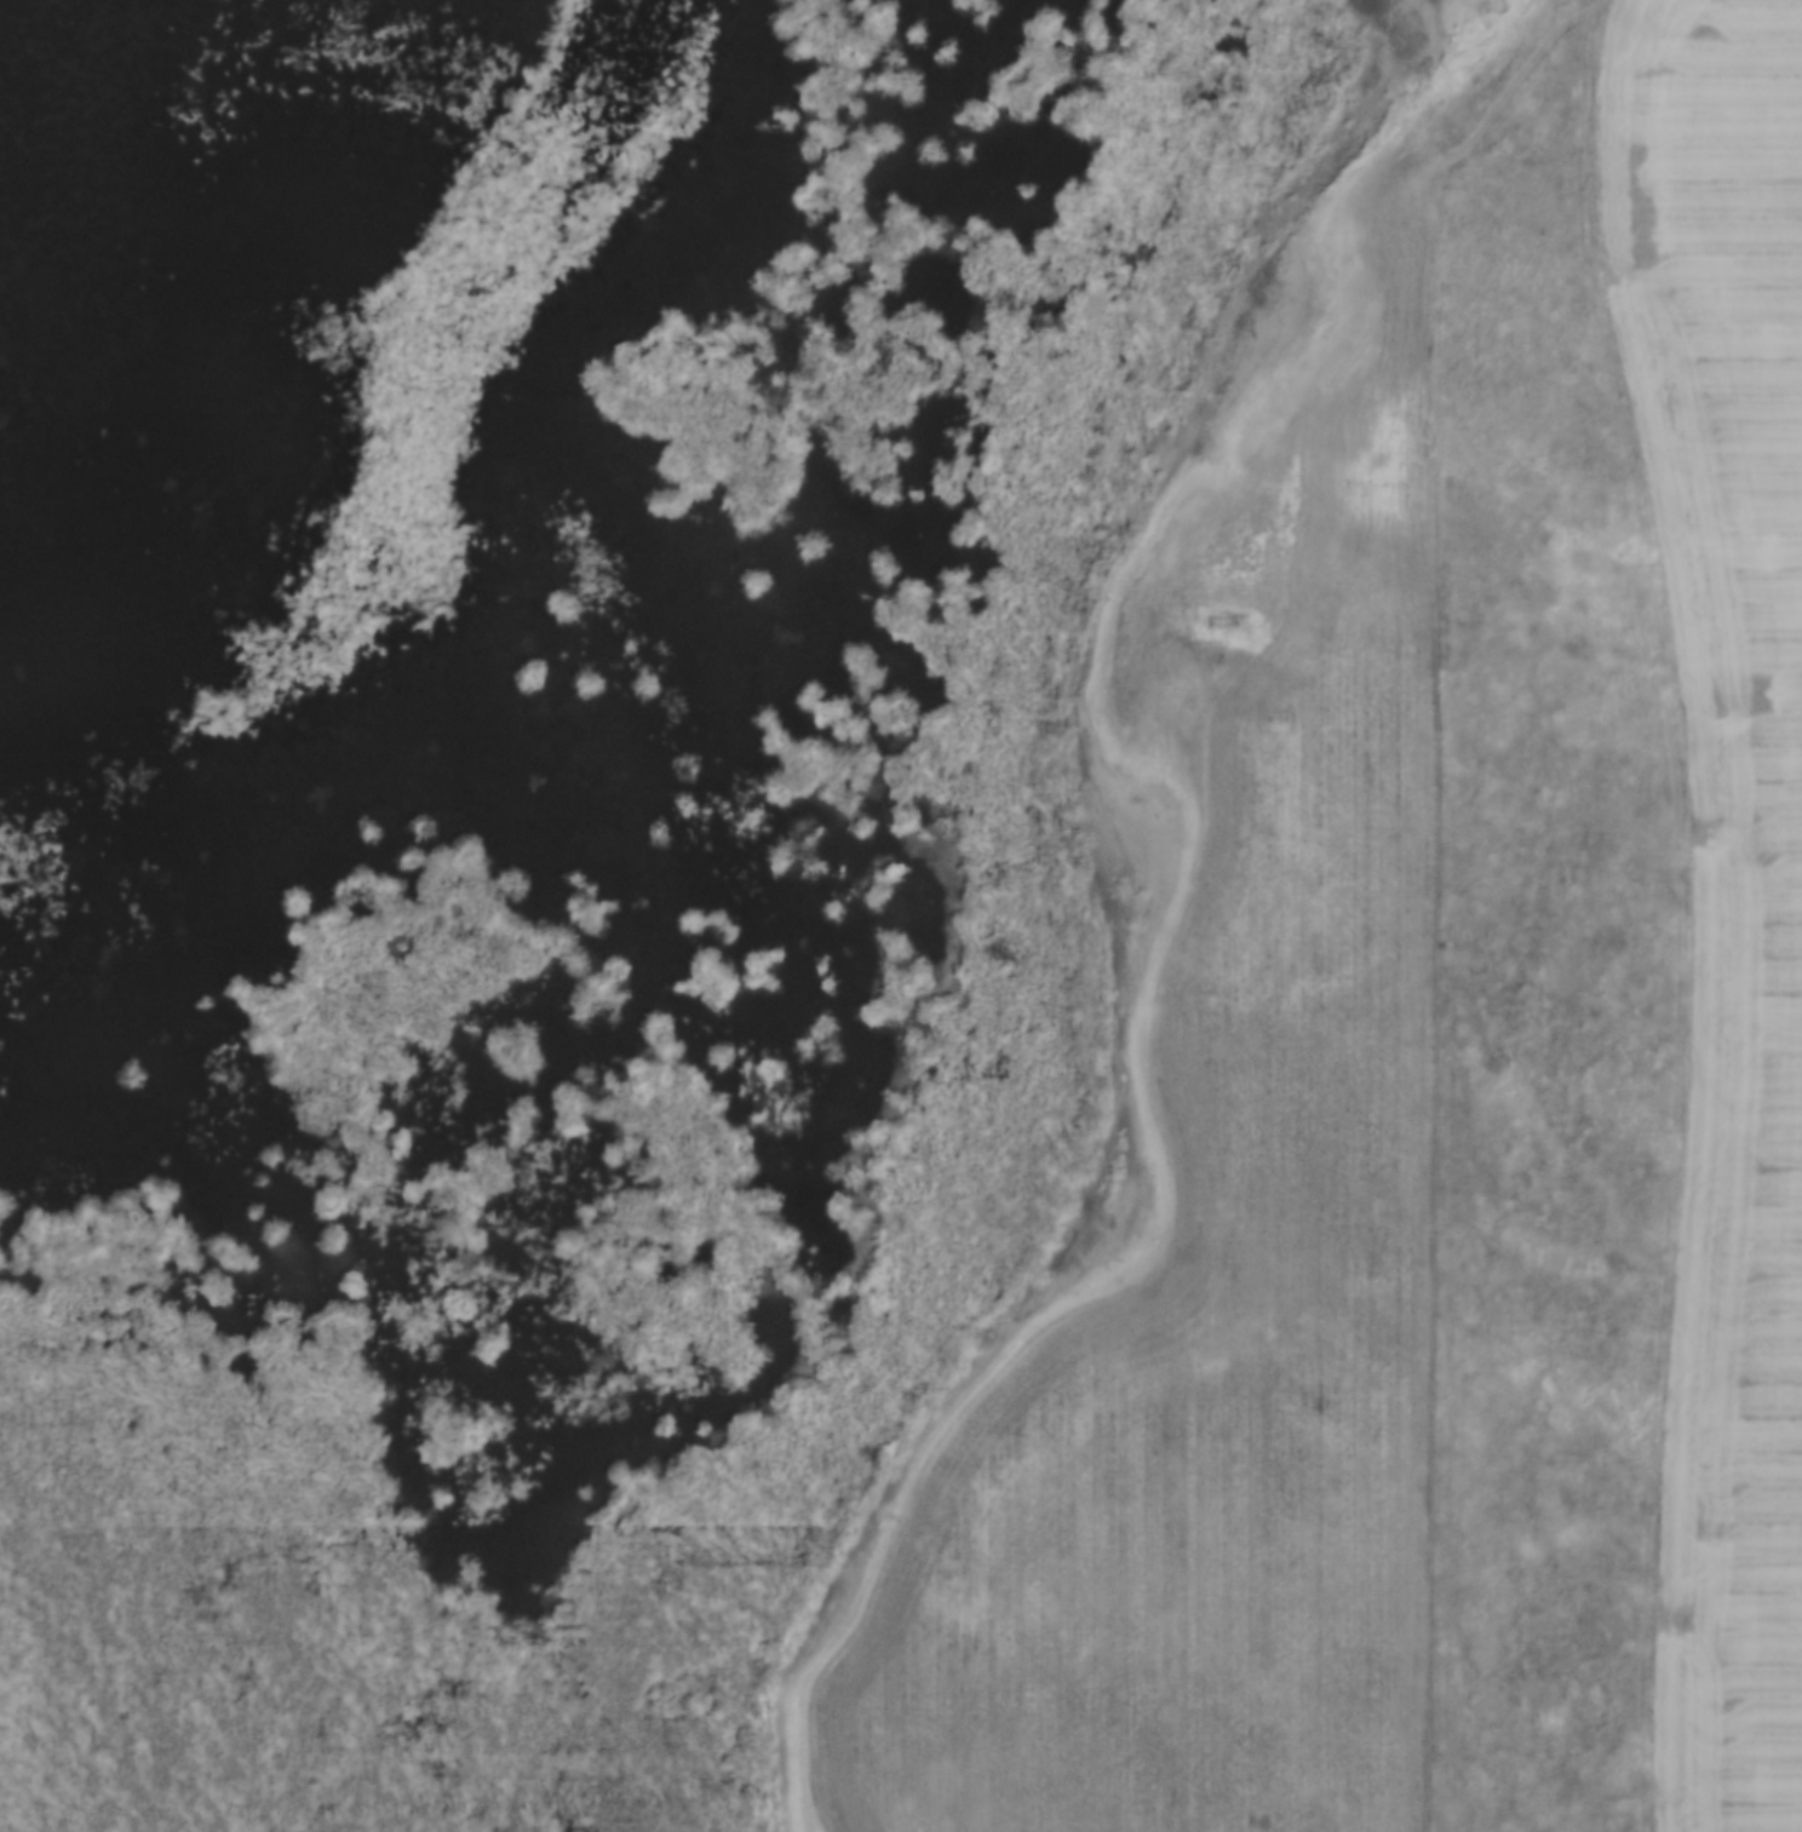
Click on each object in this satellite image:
road: (1703, 911)

